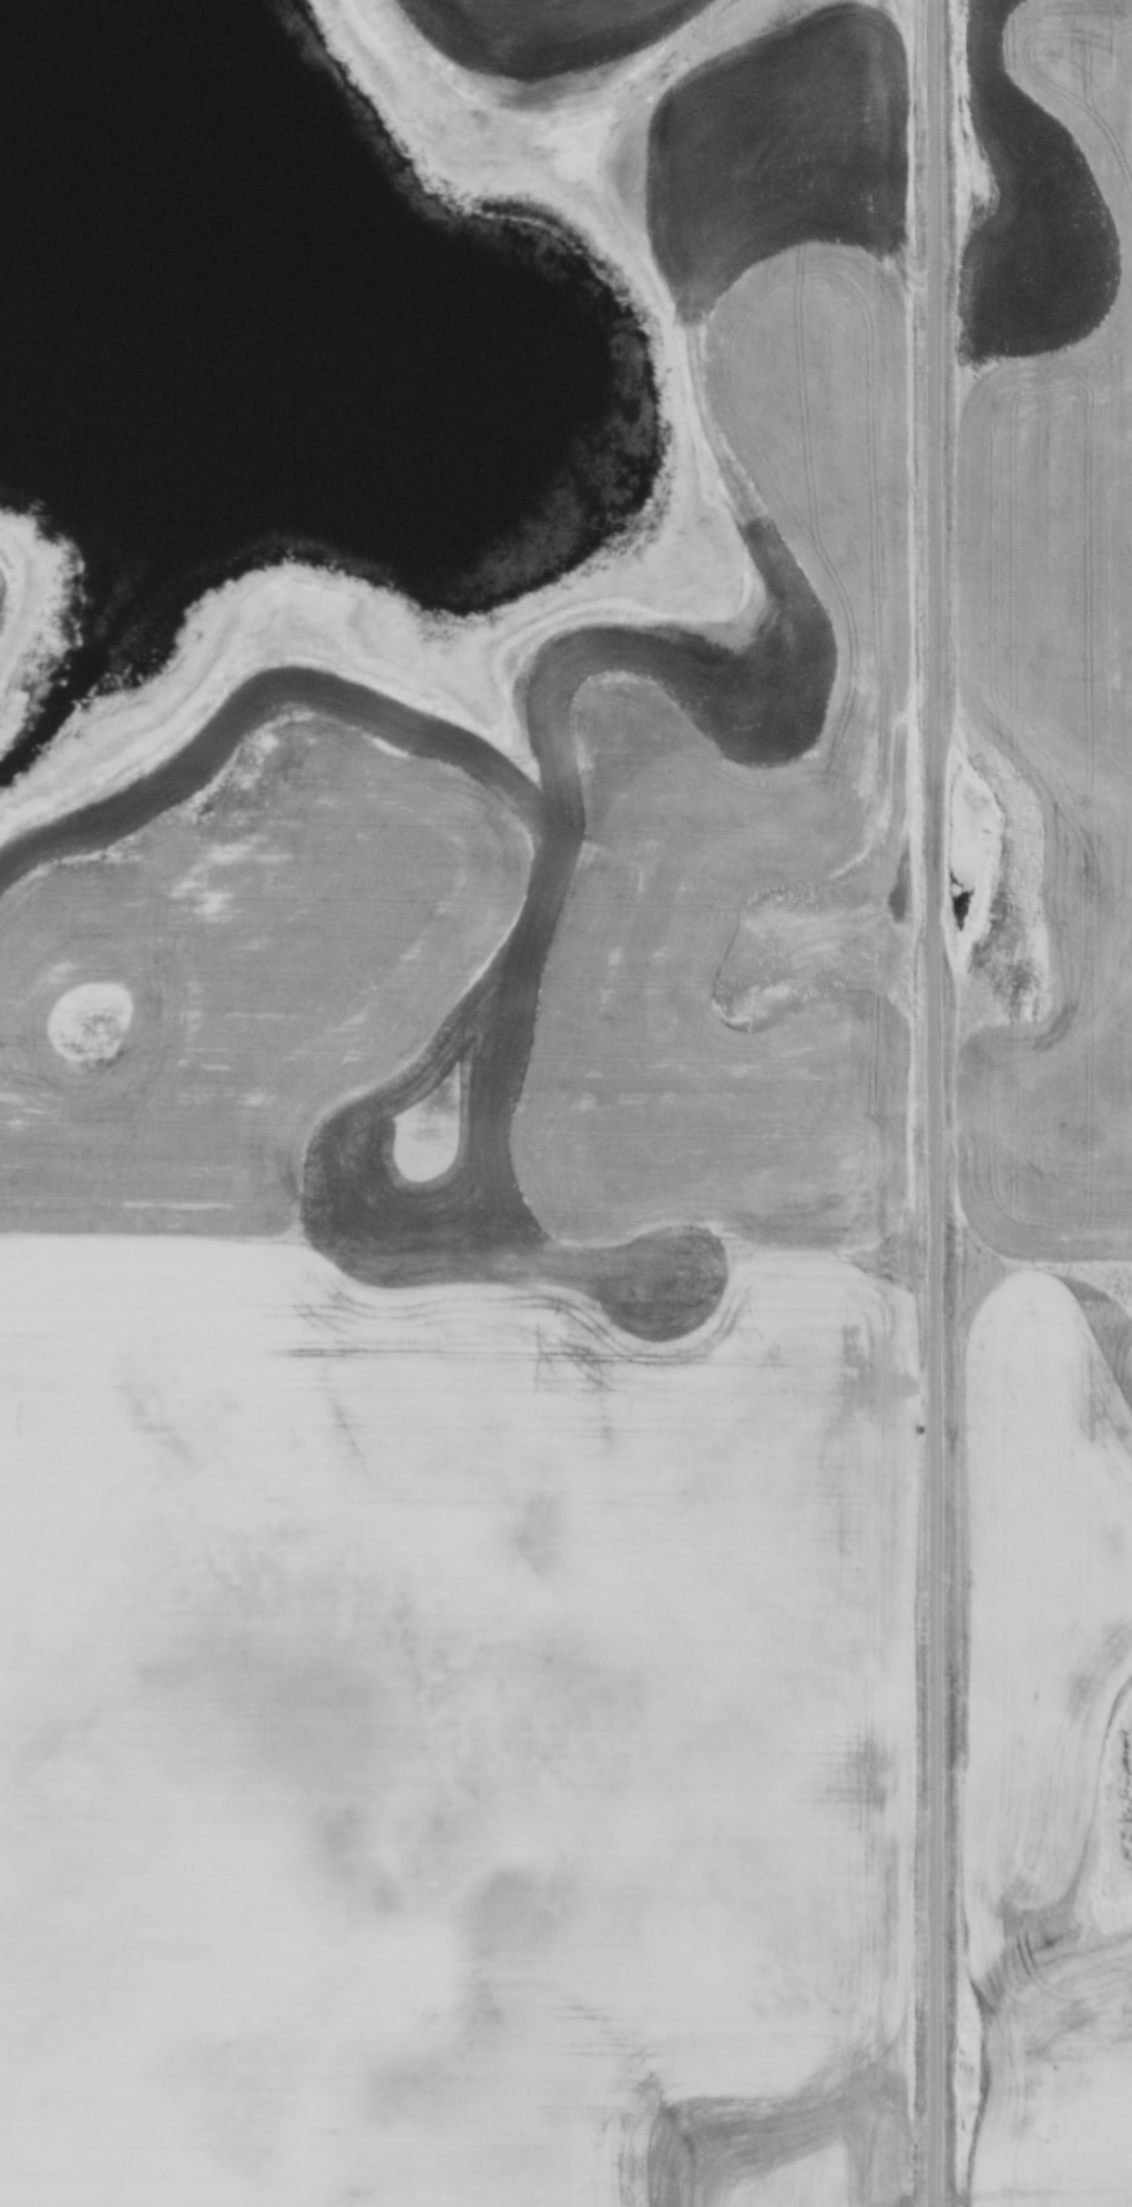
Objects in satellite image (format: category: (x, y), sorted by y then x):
road: (936, 1103)

